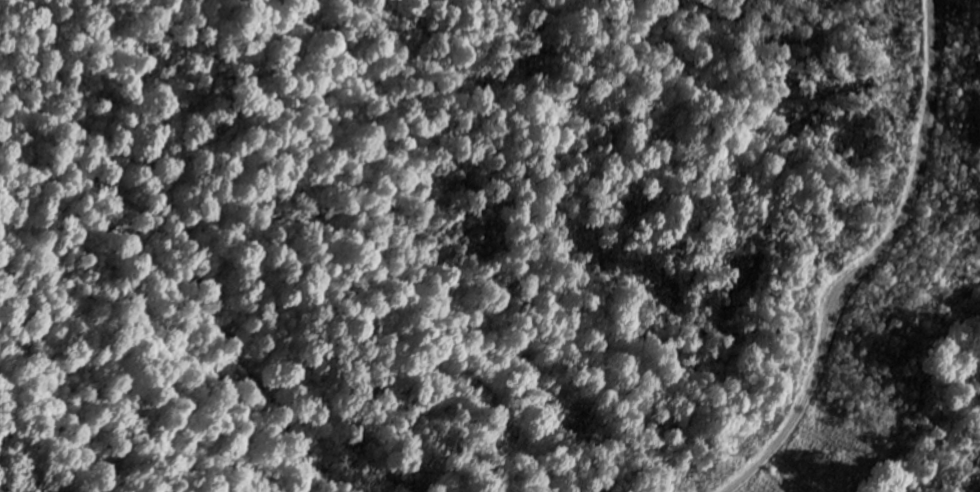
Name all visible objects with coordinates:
road: (864, 356)

